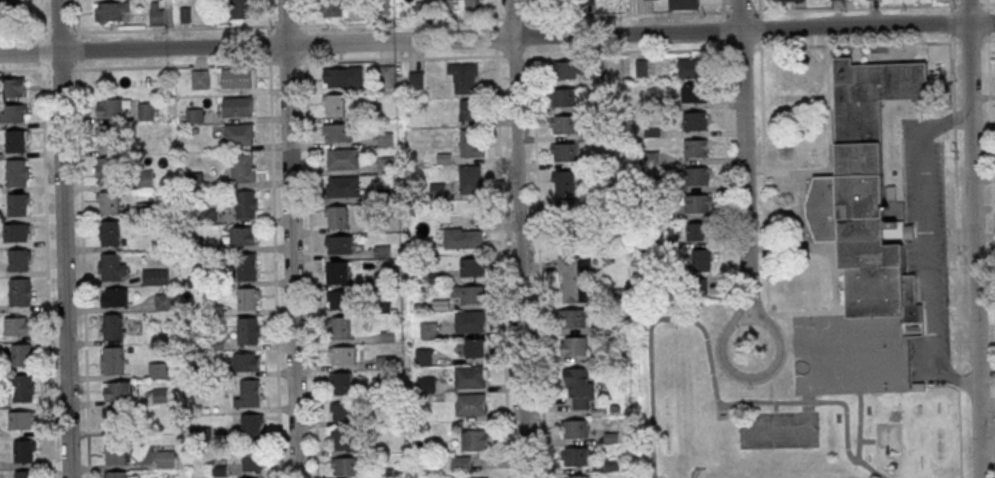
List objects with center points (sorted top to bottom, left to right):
building: (559, 0)
building: (788, 0)
road: (987, 3)
building: (461, 4)
building: (683, 4)
road: (968, 4)
road: (950, 6)
road: (986, 6)
building: (332, 7)
building: (240, 9)
road: (494, 9)
road: (531, 9)
building: (109, 10)
building: (156, 13)
road: (478, 19)
road: (987, 22)
road: (950, 23)
road: (497, 38)
road: (991, 39)
road: (984, 40)
road: (969, 41)
road: (855, 44)
road: (741, 48)
road: (626, 51)
road: (499, 56)
road: (512, 56)
building: (642, 67)
building: (691, 68)
building: (575, 69)
road: (951, 72)
building: (236, 76)
building: (342, 76)
building: (386, 76)
building: (464, 77)
building: (199, 78)
building: (12, 88)
building: (694, 92)
building: (563, 97)
building: (333, 104)
building: (236, 105)
building: (111, 106)
building: (468, 109)
building: (146, 110)
building: (13, 113)
road: (953, 118)
building: (695, 120)
road: (946, 122)
building: (563, 124)
building: (336, 132)
building: (238, 133)
building: (106, 136)
building: (15, 141)
building: (471, 143)
building: (697, 148)
building: (564, 151)
road: (743, 156)
building: (343, 158)
building: (385, 164)
building: (242, 167)
road: (991, 167)
road: (726, 168)
building: (106, 170)
building: (17, 173)
building: (696, 175)
building: (470, 179)
building: (563, 181)
road: (764, 181)
building: (343, 185)
building: (867, 190)
building: (108, 202)
building: (698, 203)
building: (246, 204)
building: (18, 205)
building: (336, 216)
building: (568, 217)
road: (956, 224)
road: (927, 226)
building: (698, 231)
building: (110, 232)
building: (16, 233)
building: (242, 235)
building: (467, 237)
road: (45, 238)
road: (82, 238)
road: (310, 238)
road: (519, 238)
road: (973, 238)
road: (62, 239)
road: (273, 239)
road: (289, 239)
building: (339, 244)
building: (702, 260)
building: (19, 261)
building: (112, 266)
building: (247, 266)
building: (472, 266)
road: (538, 266)
road: (502, 267)
building: (337, 272)
building: (155, 276)
building: (575, 279)
building: (699, 286)
building: (20, 292)
building: (469, 294)
building: (115, 296)
building: (248, 298)
building: (338, 299)
building: (164, 301)
road: (808, 312)
road: (765, 315)
building: (572, 318)
building: (470, 320)
road: (972, 322)
road: (963, 323)
building: (18, 326)
building: (112, 326)
building: (341, 327)
building: (250, 329)
building: (429, 329)
road: (778, 330)
road: (650, 332)
building: (573, 345)
building: (476, 347)
building: (342, 354)
building: (21, 355)
building: (423, 356)
building: (113, 359)
building: (246, 361)
park: (887, 364)
road: (938, 365)
building: (157, 369)
building: (469, 375)
building: (341, 382)
building: (425, 383)
building: (580, 386)
building: (24, 388)
building: (117, 390)
building: (249, 393)
road: (826, 400)
building: (470, 403)
building: (343, 410)
road: (718, 411)
building: (116, 419)
building: (22, 420)
building: (251, 424)
road: (859, 426)
building: (575, 428)
building: (342, 438)
building: (476, 439)
building: (115, 450)
building: (23, 451)
building: (165, 455)
building: (252, 456)
building: (575, 456)
building: (461, 463)
building: (345, 465)
building: (26, 474)
building: (117, 474)
building: (576, 476)
building: (476, 477)

